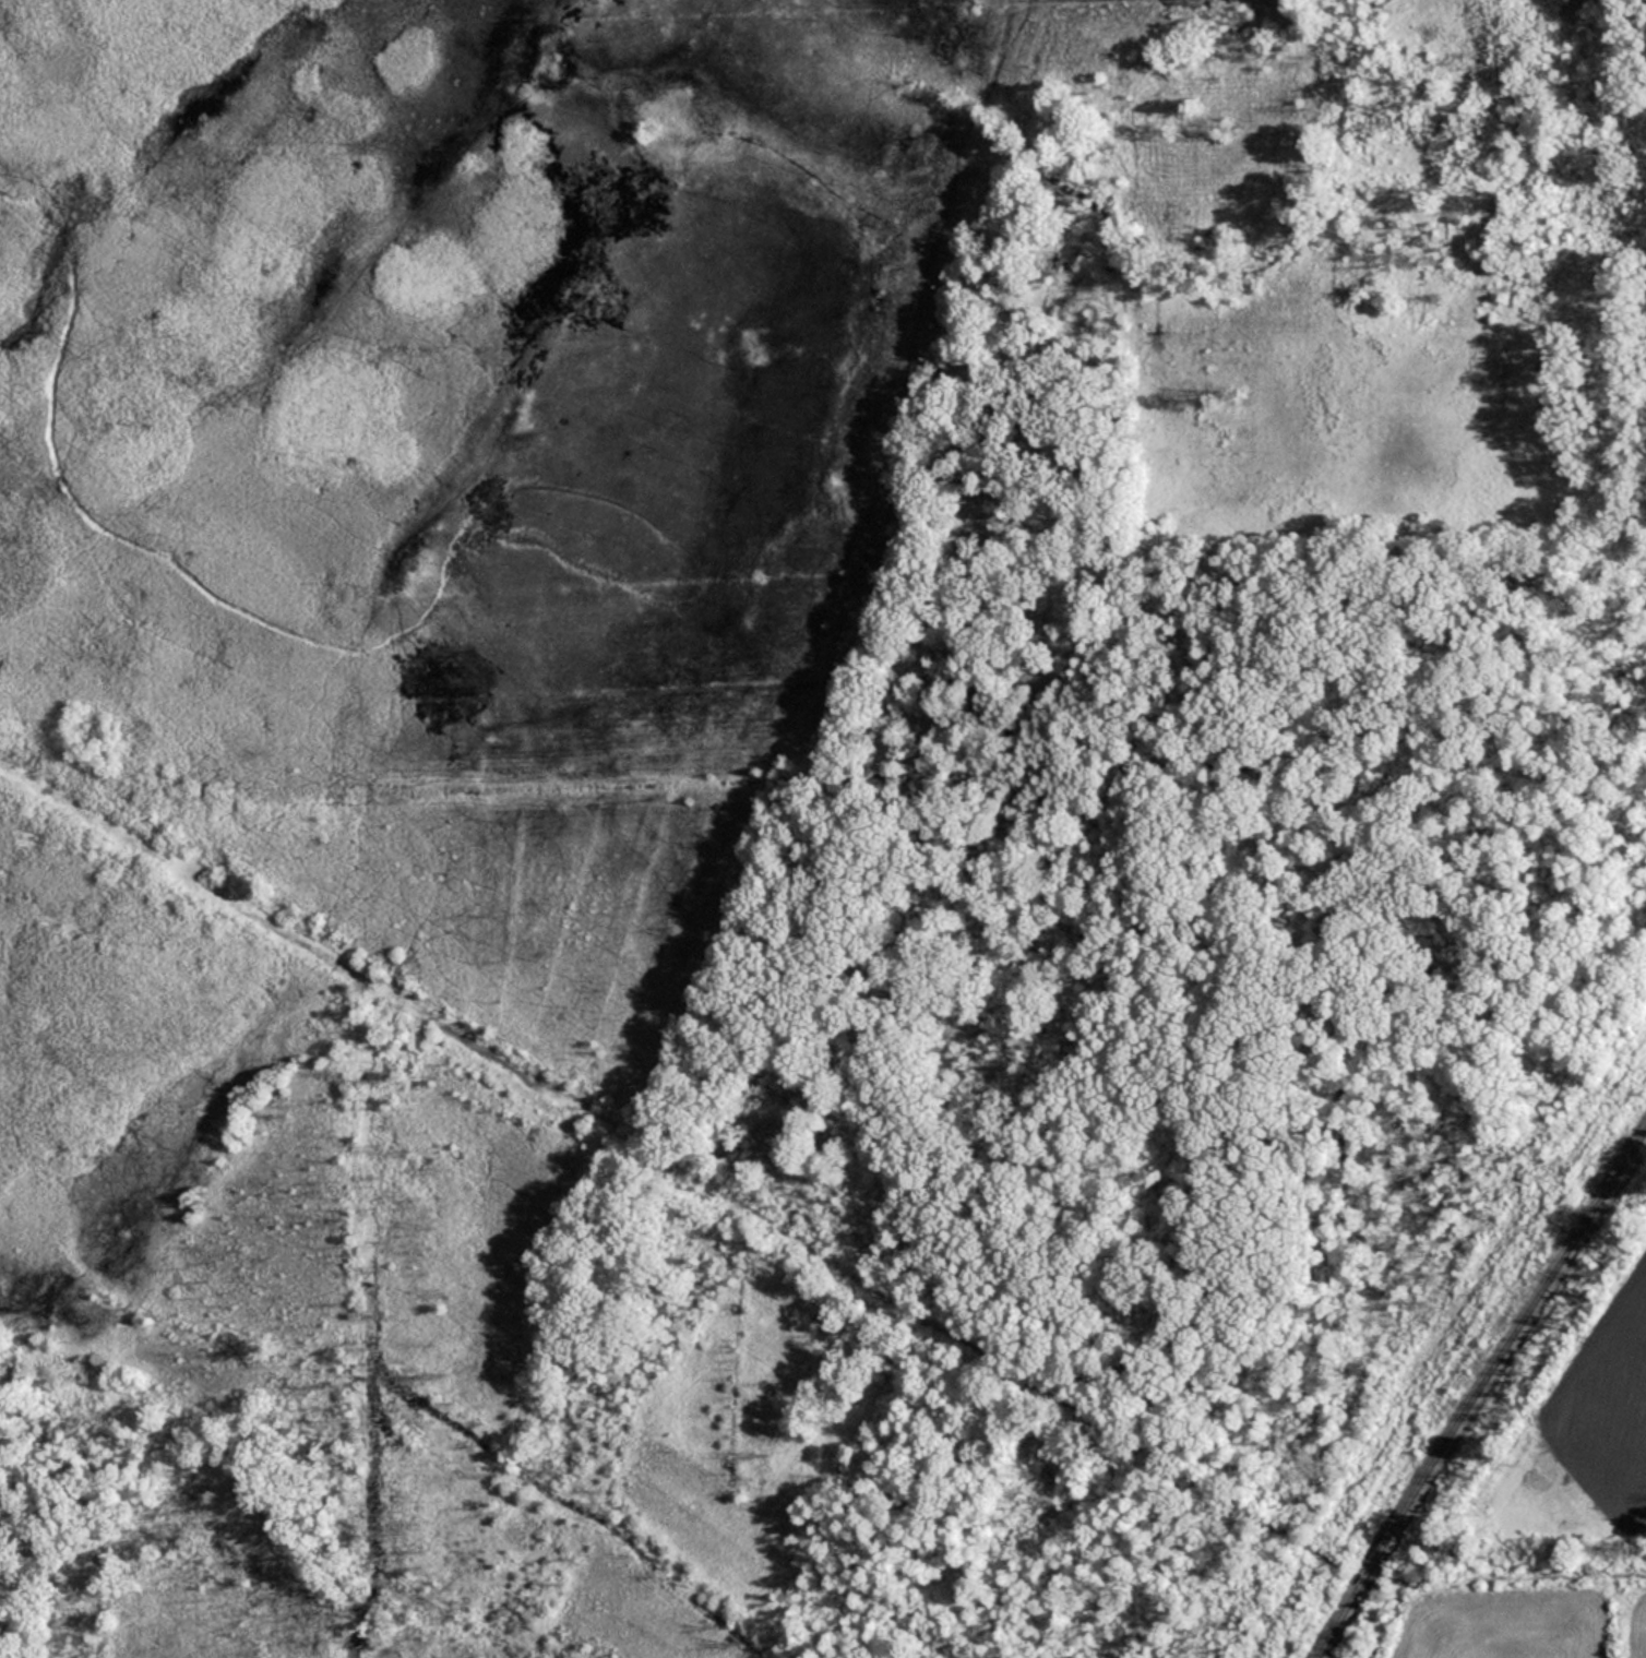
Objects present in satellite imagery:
road: (1559, 37)
railway: (1505, 1355)
railway: (1361, 1579)
railway: (1337, 1621)

